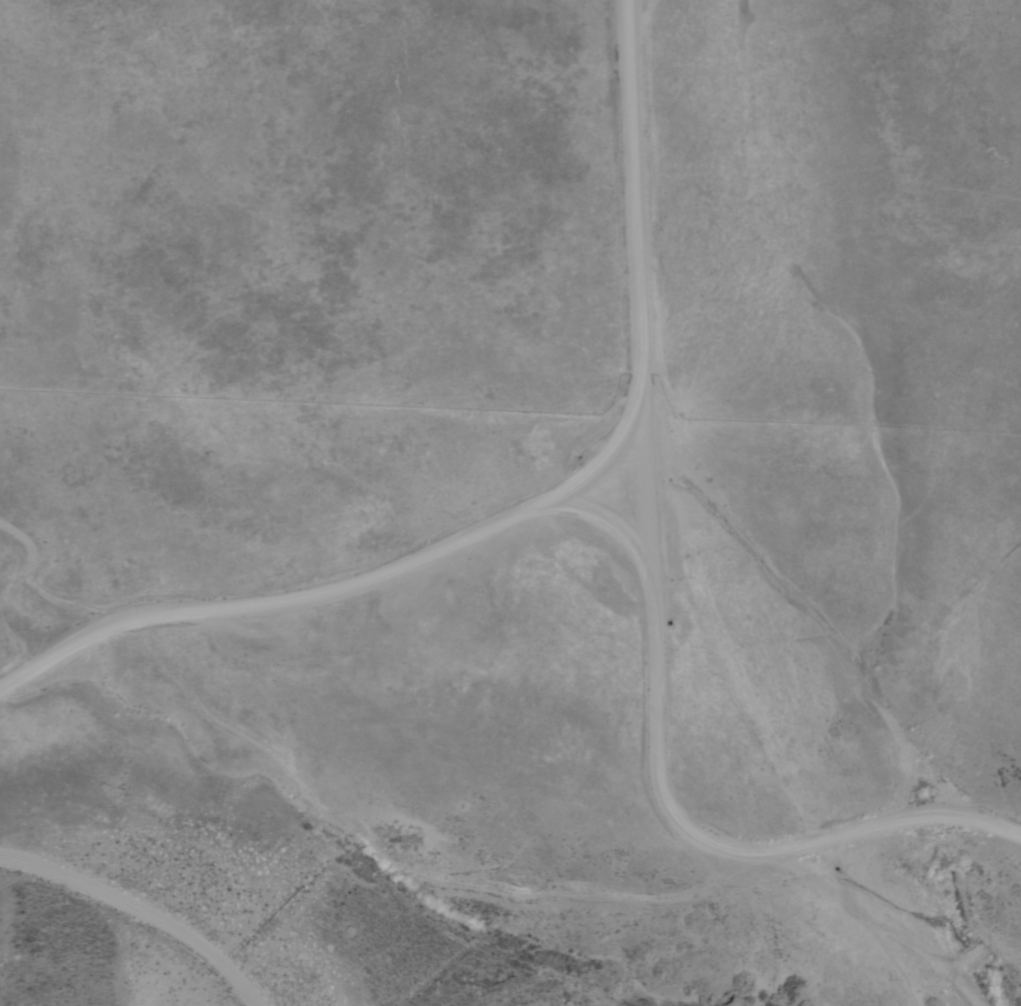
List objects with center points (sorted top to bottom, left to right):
road: (323, 581)
road: (644, 593)
road: (822, 615)
road: (9, 651)
road: (889, 818)

